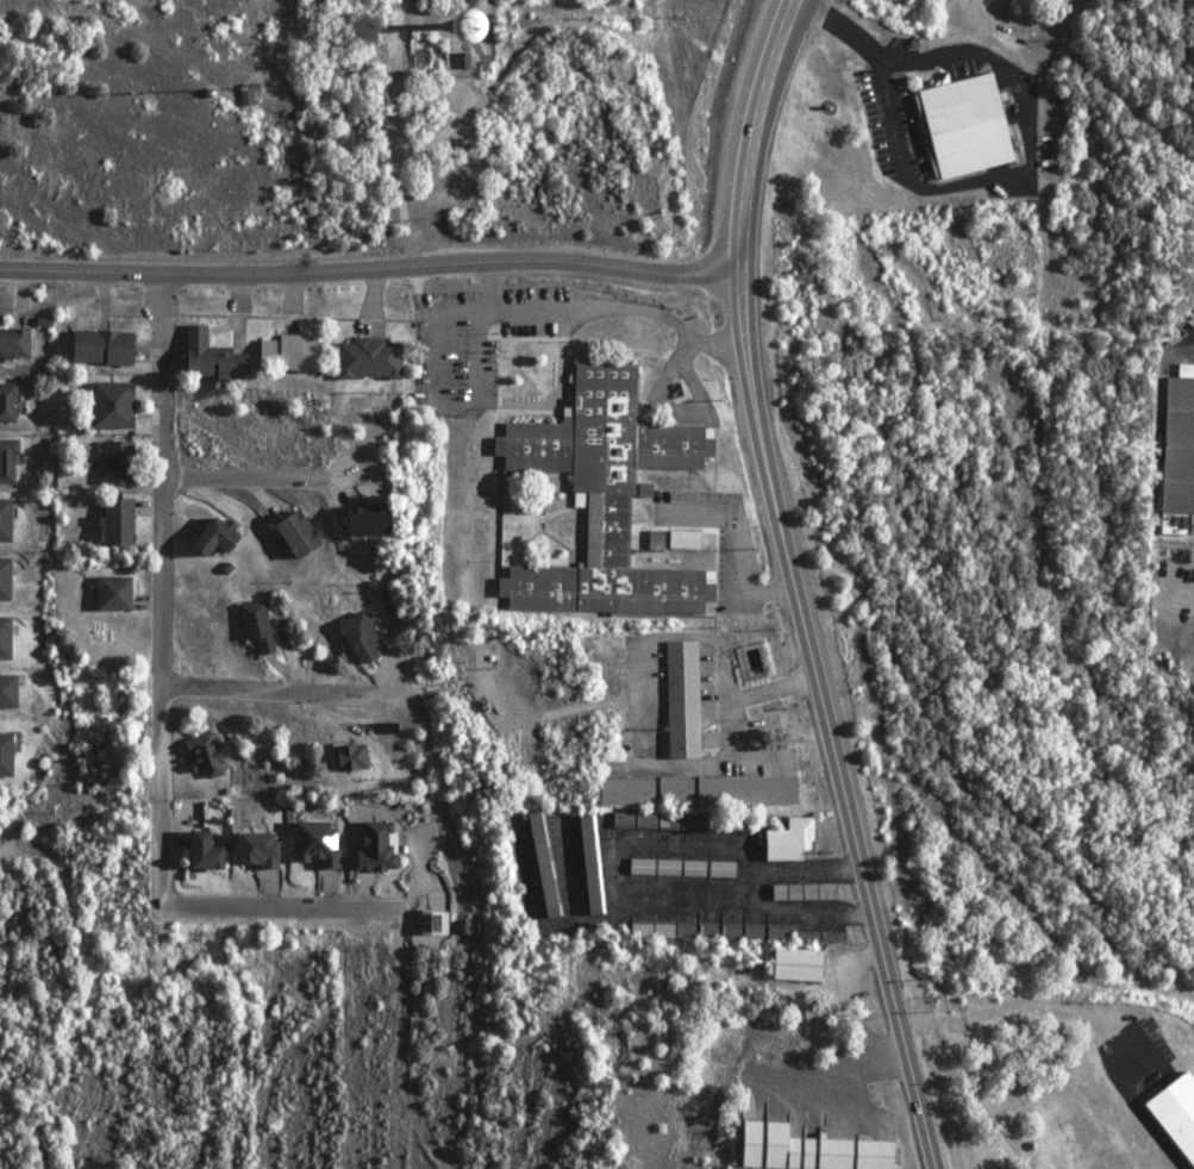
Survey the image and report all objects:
water tower: (463, 27)
building: (423, 31)
building: (961, 126)
road: (395, 135)
road: (976, 182)
road: (374, 270)
road: (605, 308)
building: (12, 343)
building: (96, 348)
building: (282, 354)
building: (207, 358)
building: (365, 358)
road: (437, 392)
building: (108, 405)
building: (6, 460)
building: (114, 462)
road: (251, 477)
building: (642, 488)
building: (599, 498)
building: (4, 519)
building: (361, 520)
building: (115, 521)
building: (289, 531)
building: (652, 537)
building: (681, 538)
road: (739, 542)
building: (4, 577)
road: (794, 586)
building: (110, 592)
building: (255, 624)
building: (356, 636)
building: (4, 637)
road: (771, 687)
building: (7, 690)
road: (282, 693)
building: (681, 700)
road: (162, 708)
building: (4, 754)
building: (200, 755)
building: (346, 756)
building: (695, 790)
road: (445, 804)
building: (786, 839)
building: (314, 843)
building: (371, 846)
building: (250, 848)
building: (196, 850)
building: (543, 863)
building: (588, 863)
building: (679, 867)
building: (799, 890)
road: (745, 894)
building: (794, 963)
road: (859, 1076)
park: (1067, 1079)
building: (1177, 1111)
building: (1033, 1139)
parking lot: (990, 1145)
building: (805, 1149)

